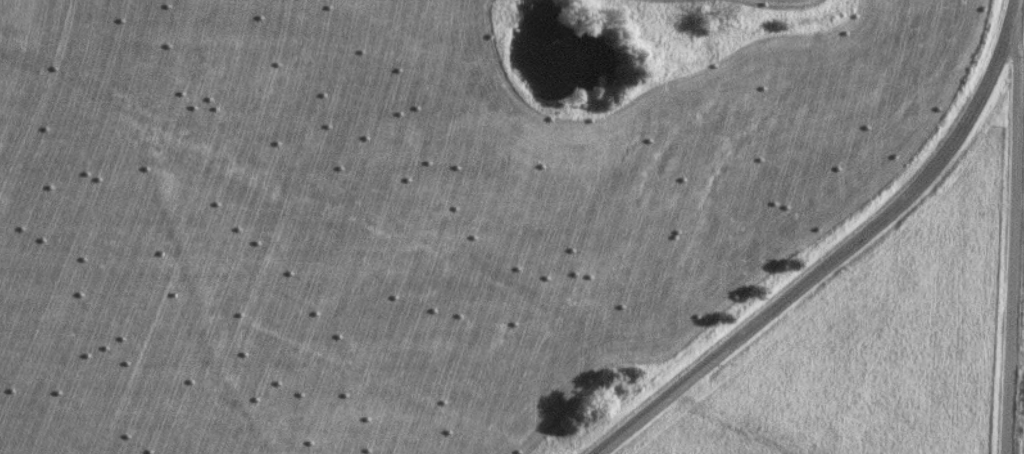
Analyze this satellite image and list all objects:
road: (1015, 235)
road: (841, 253)

